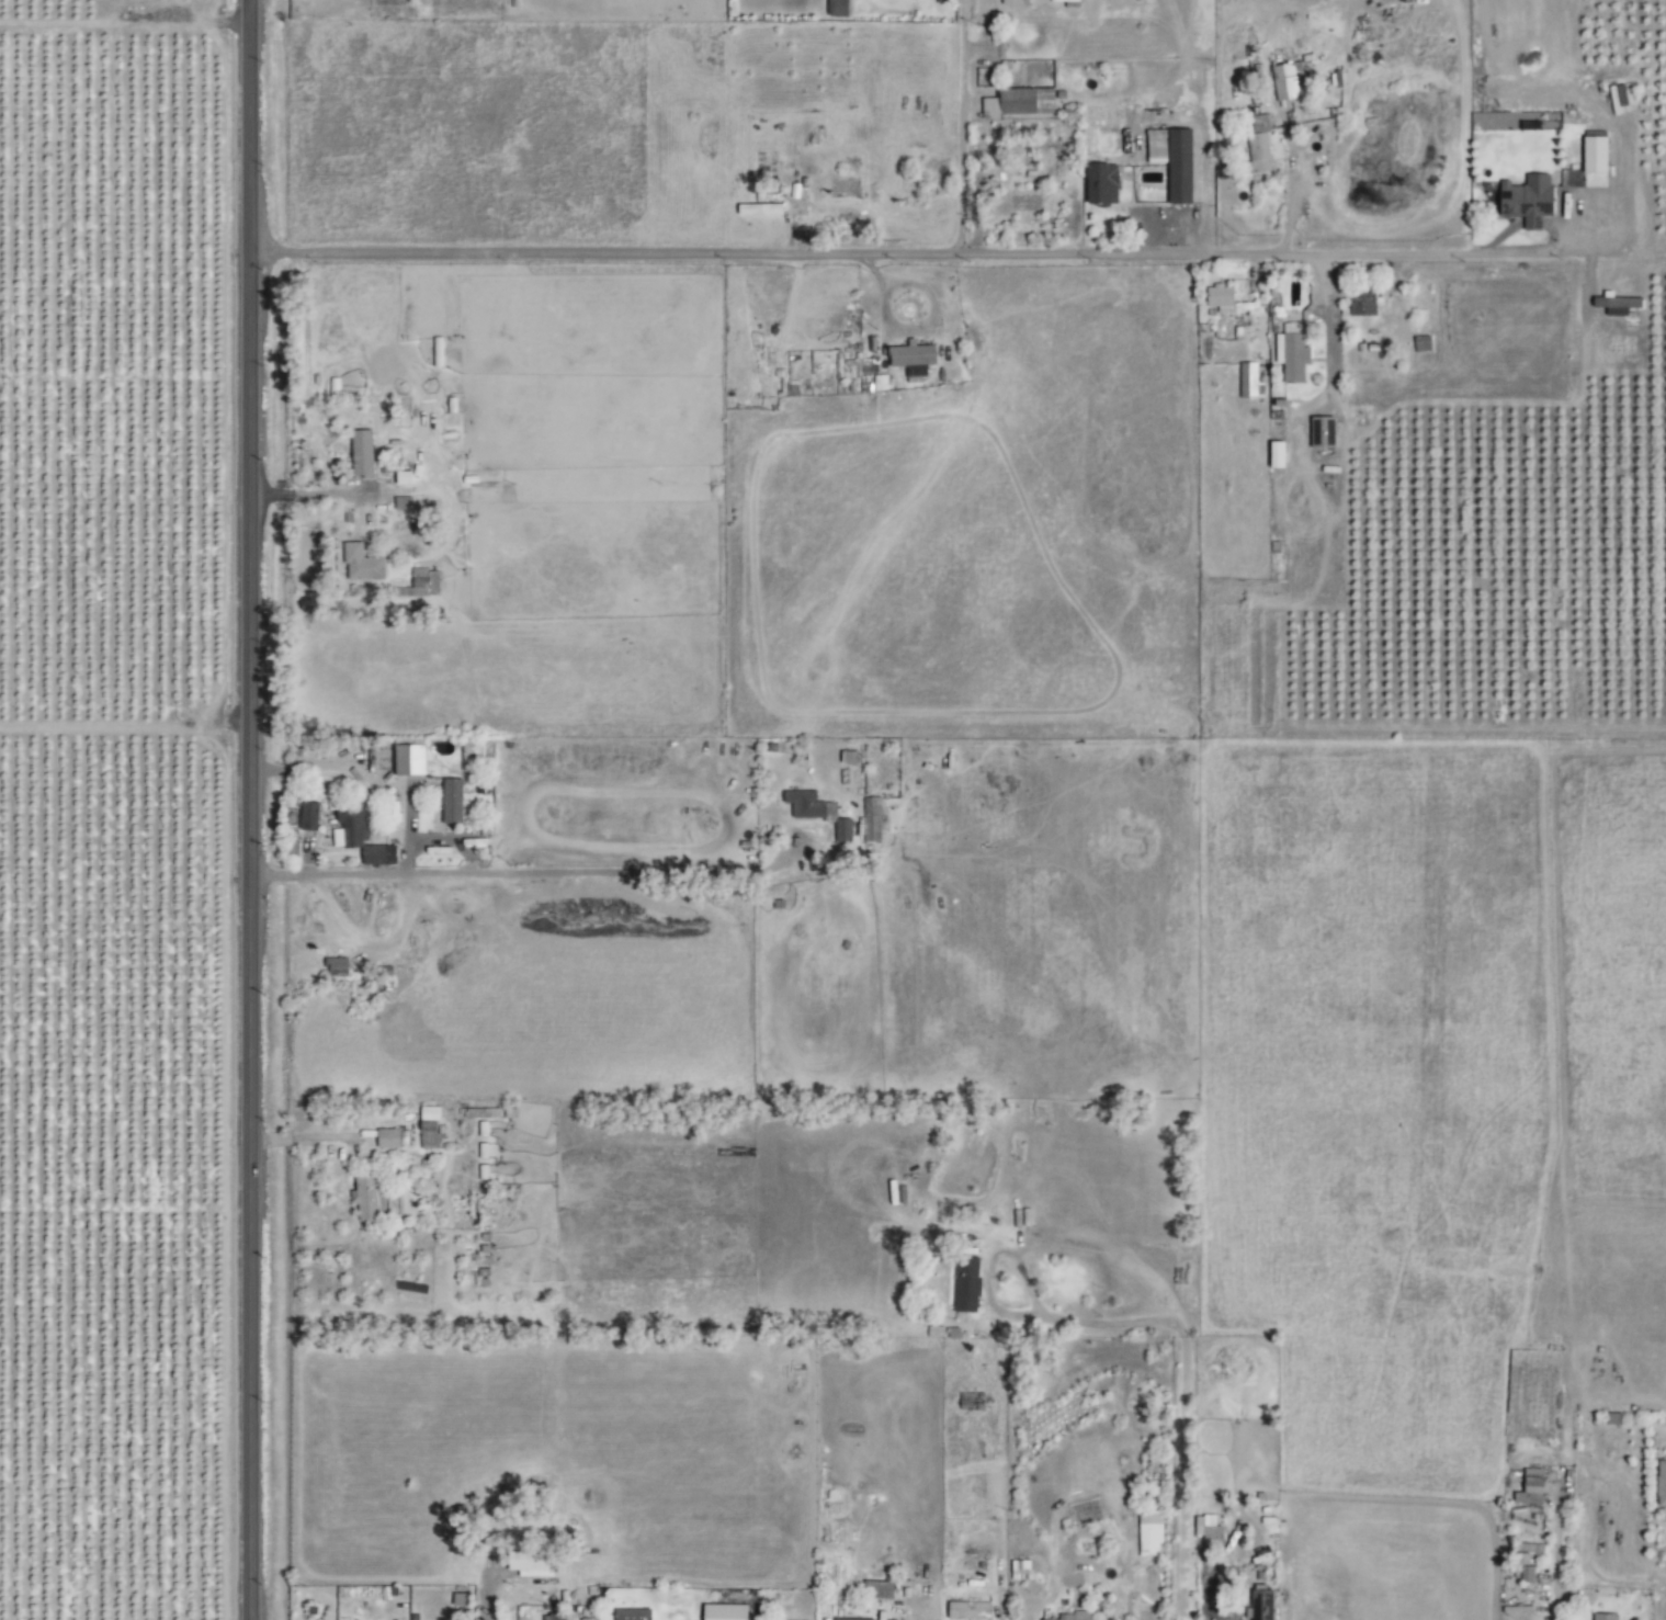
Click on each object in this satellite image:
building: (839, 8)
road: (986, 33)
building: (1289, 78)
building: (1018, 102)
road: (1198, 123)
road: (959, 126)
building: (1257, 145)
building: (1591, 155)
building: (1170, 160)
building: (1571, 178)
building: (1098, 184)
building: (1523, 200)
building: (1021, 204)
road: (940, 253)
building: (1217, 295)
building: (1360, 305)
building: (1613, 305)
building: (1289, 353)
building: (916, 361)
building: (1247, 381)
building: (881, 383)
building: (364, 453)
building: (403, 503)
building: (362, 564)
building: (427, 585)
road: (125, 722)
building: (413, 760)
road: (369, 778)
building: (454, 802)
building: (806, 804)
road: (250, 809)
building: (309, 816)
building: (845, 830)
building: (362, 835)
road: (446, 839)
road: (529, 872)
building: (393, 1138)
building: (369, 1197)
road: (987, 1262)
building: (964, 1283)
road: (1183, 1401)
building: (1659, 1486)
building: (1528, 1487)
building: (1209, 1527)
building: (1148, 1534)
road: (1551, 1559)
building: (530, 1561)
road: (1204, 1577)
building: (874, 1589)
building: (1259, 1605)
building: (964, 1610)
building: (721, 1611)
building: (634, 1613)
building: (1072, 1616)
building: (1600, 1616)
building: (557, 1617)
building: (587, 1619)
building: (849, 1619)
building: (1042, 1619)

